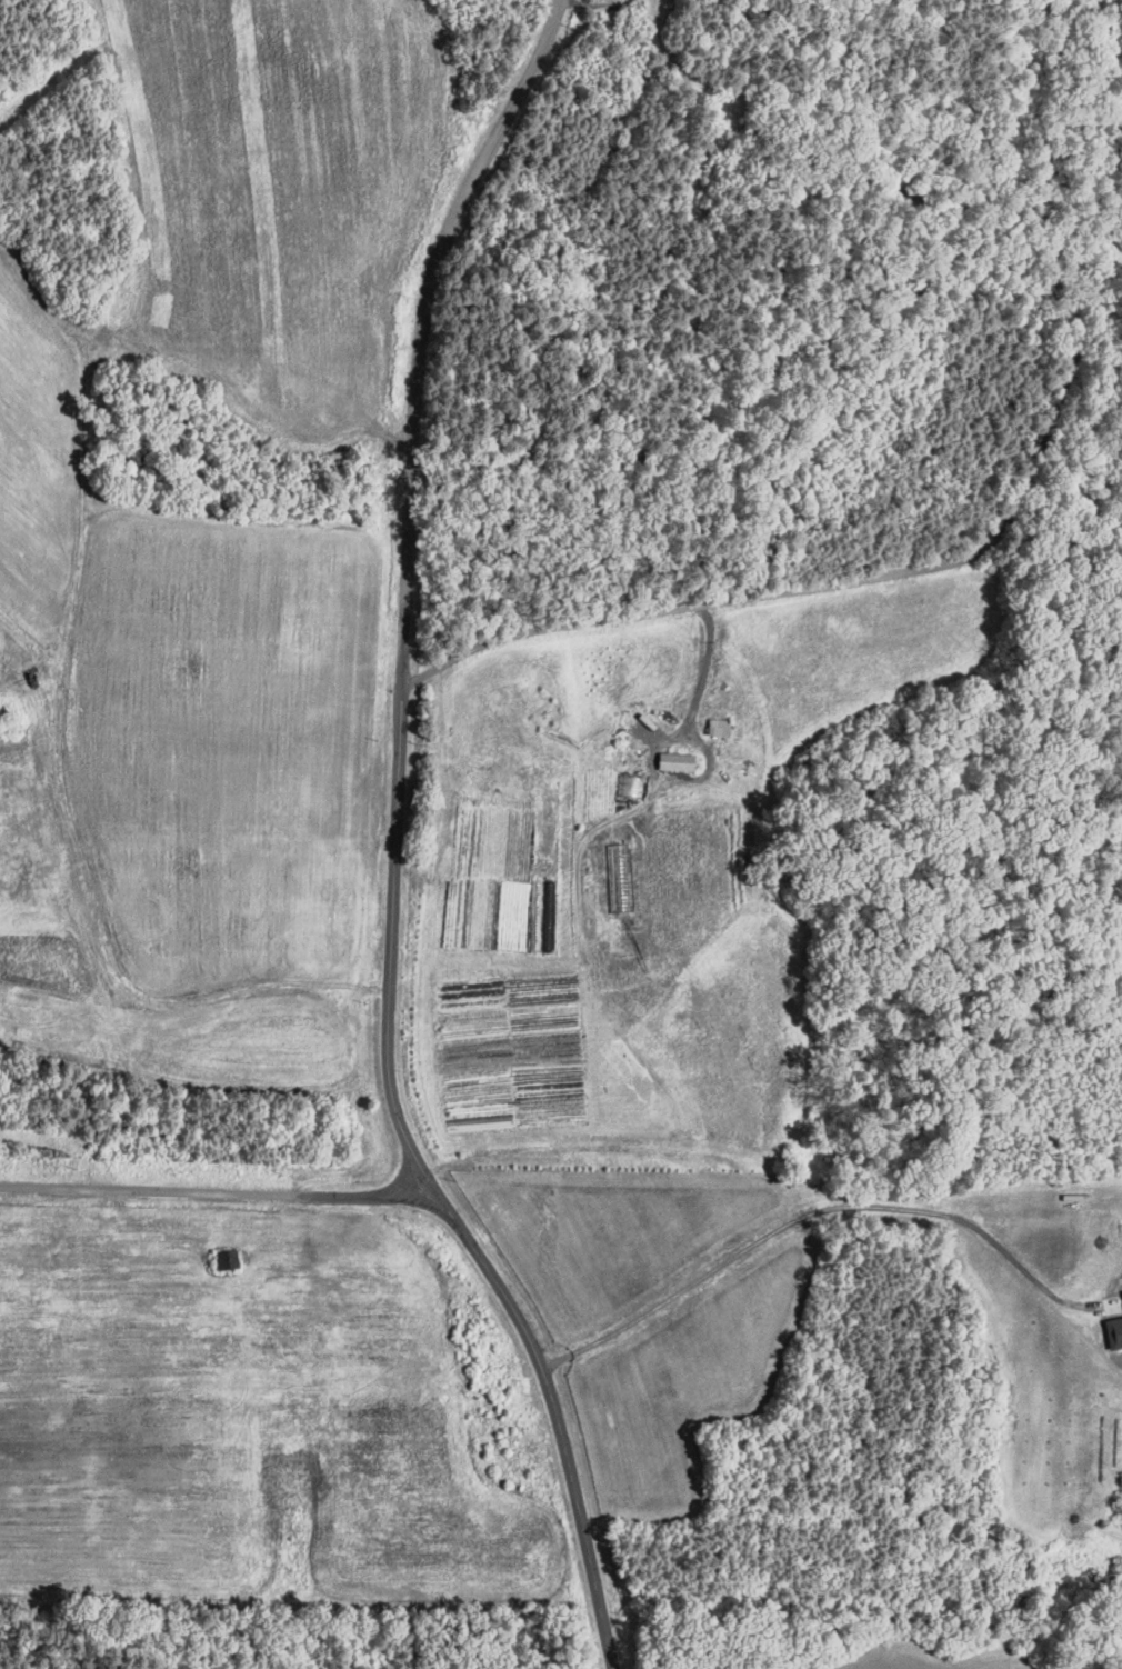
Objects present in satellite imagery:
road: (893, 572)
road: (704, 667)
building: (718, 723)
building: (675, 758)
building: (627, 781)
road: (393, 843)
road: (221, 1193)
road: (801, 1210)
building: (232, 1258)
building: (1121, 1290)
building: (1121, 1297)
building: (1112, 1327)

